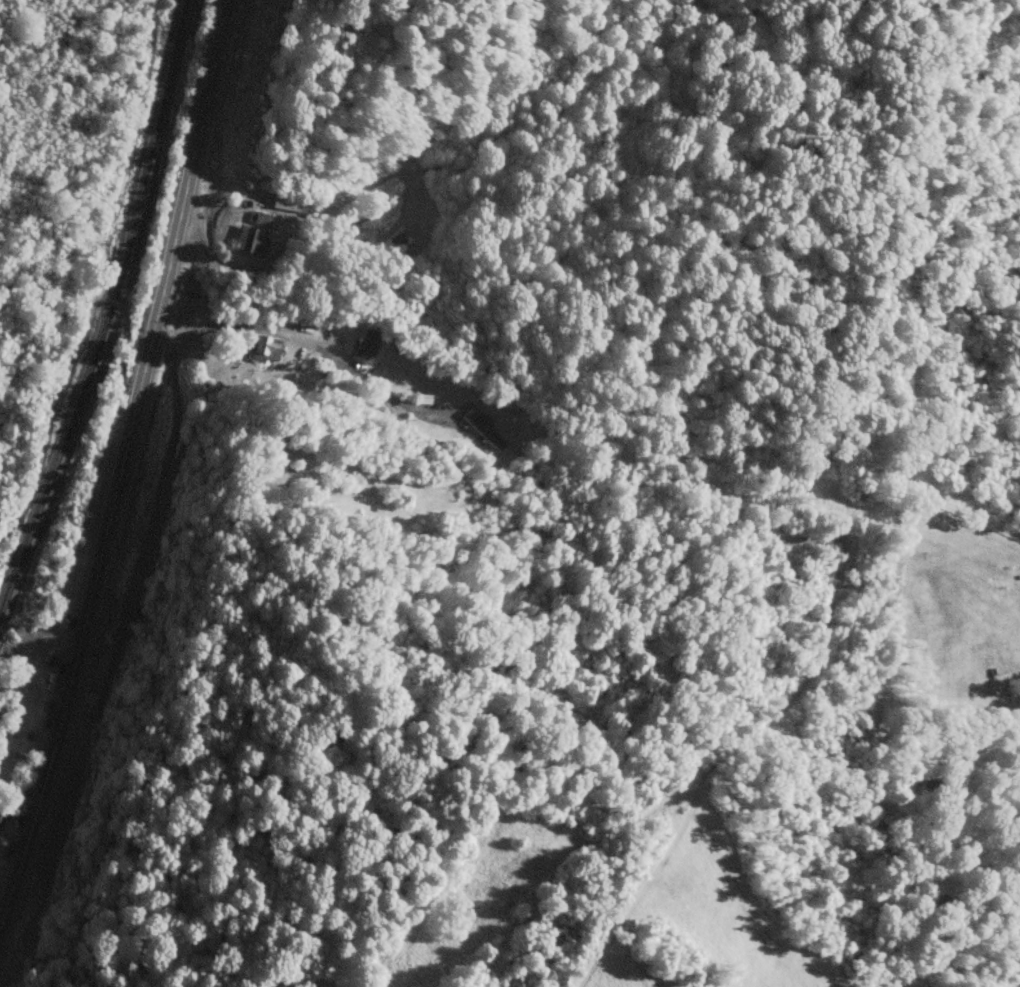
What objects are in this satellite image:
railway: (105, 307)
road: (119, 462)
building: (2, 810)

